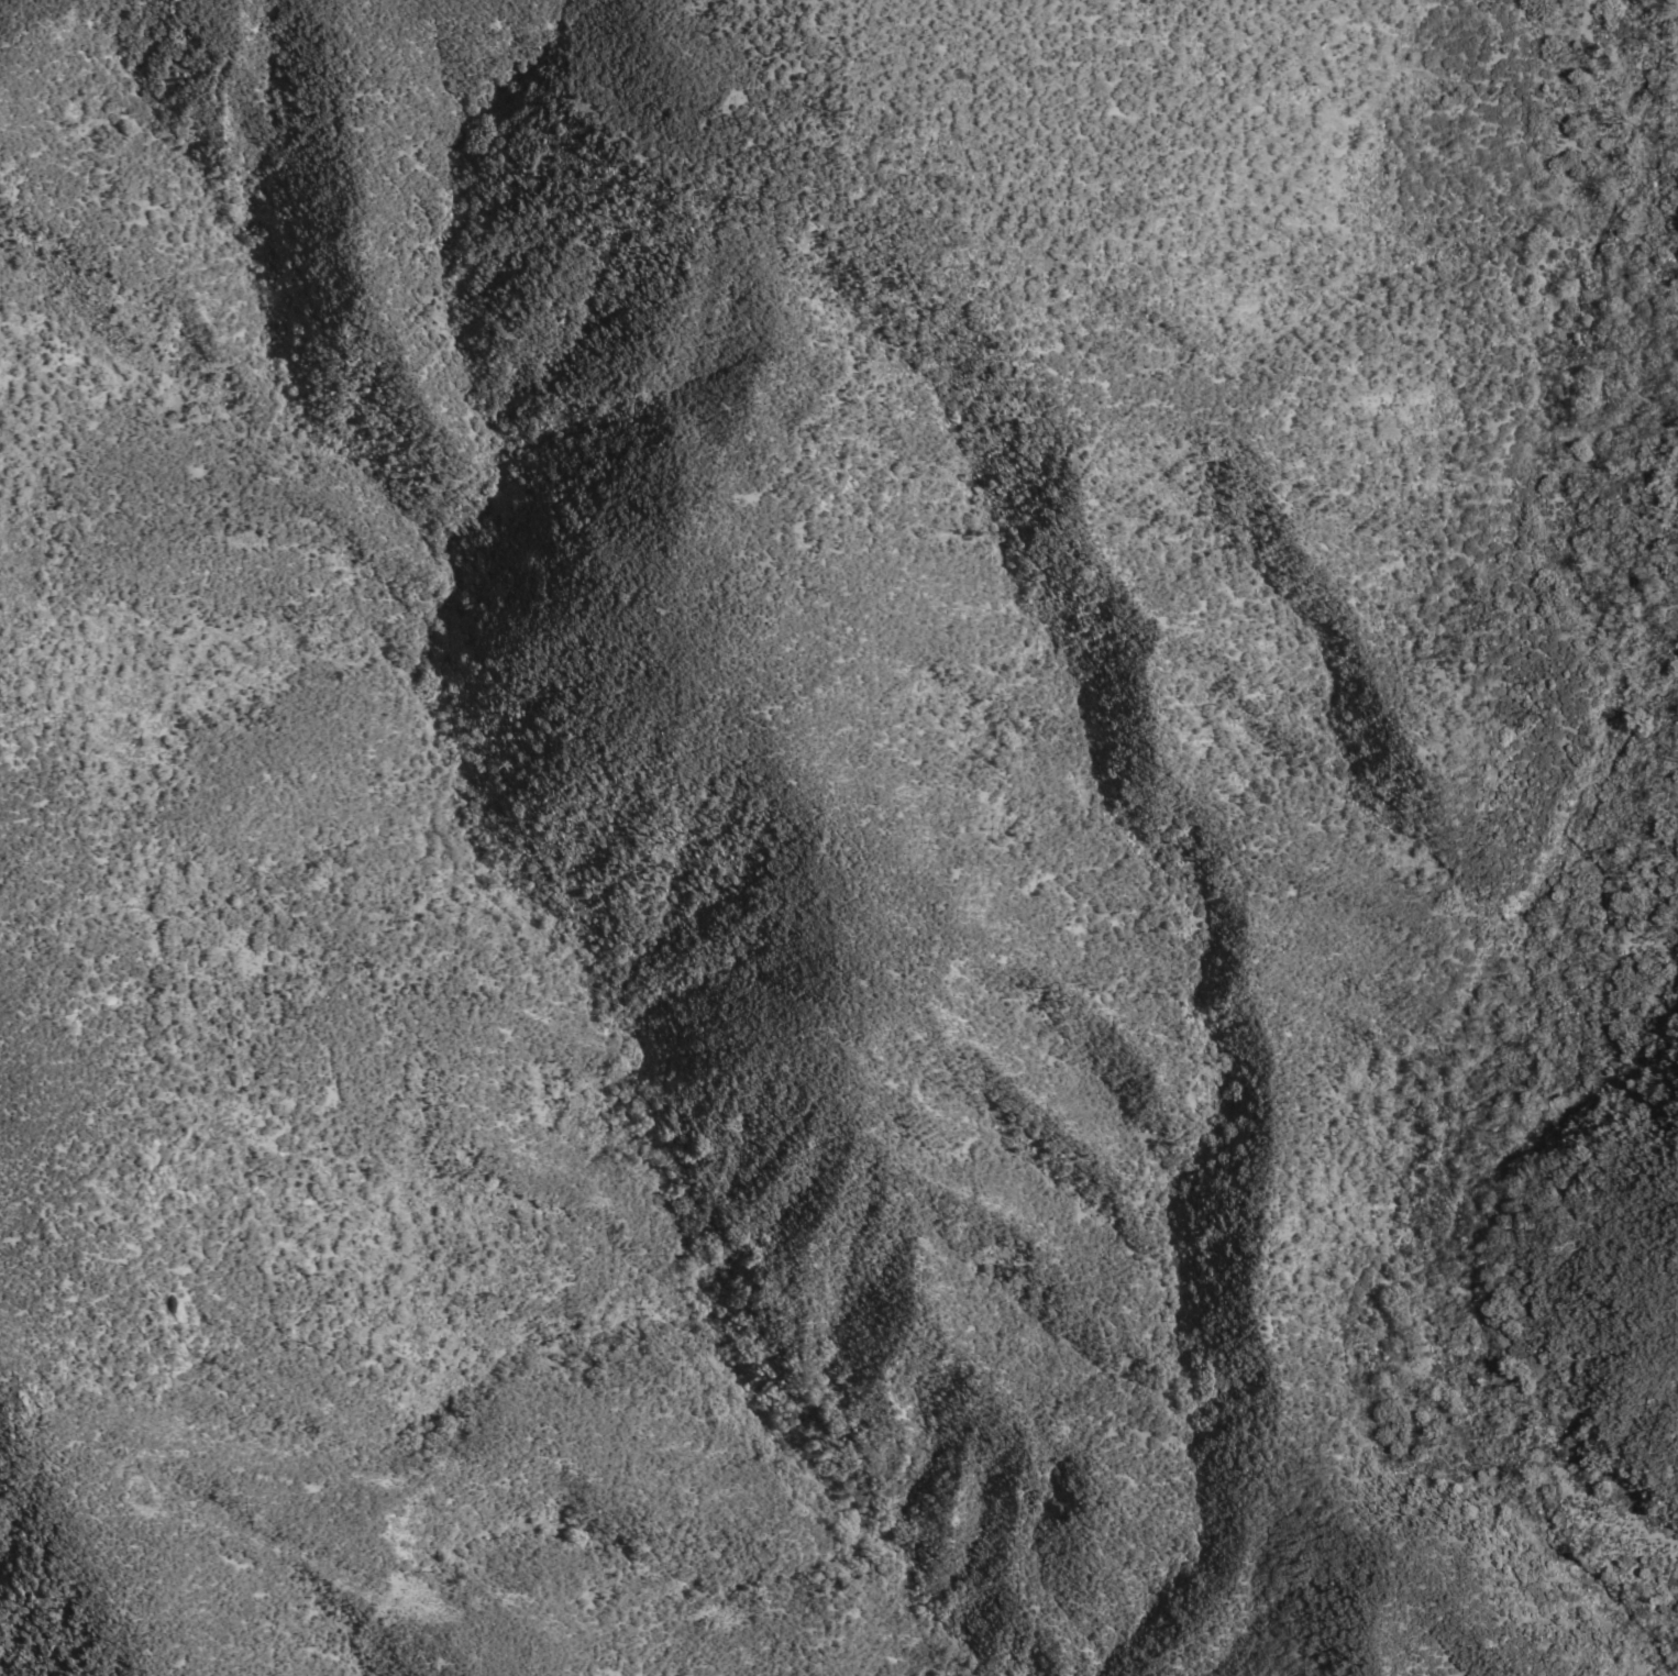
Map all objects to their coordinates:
river: (1611, 1526)

